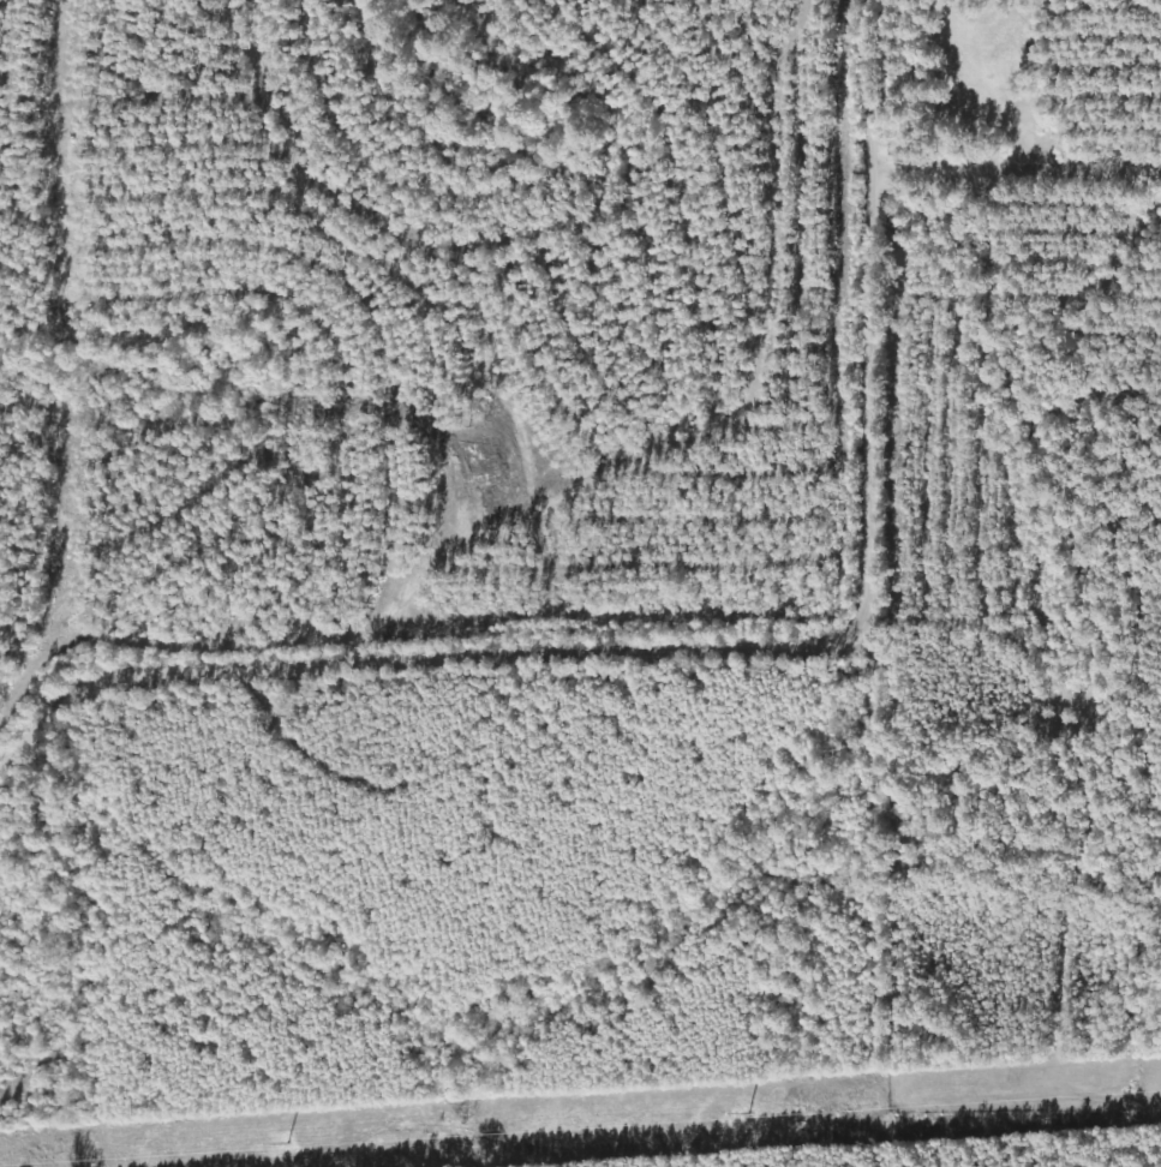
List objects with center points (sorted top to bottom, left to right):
road: (405, 330)
road: (867, 517)
road: (157, 676)
power tower: (929, 1108)
power tower: (569, 1131)
power tower: (144, 1160)

